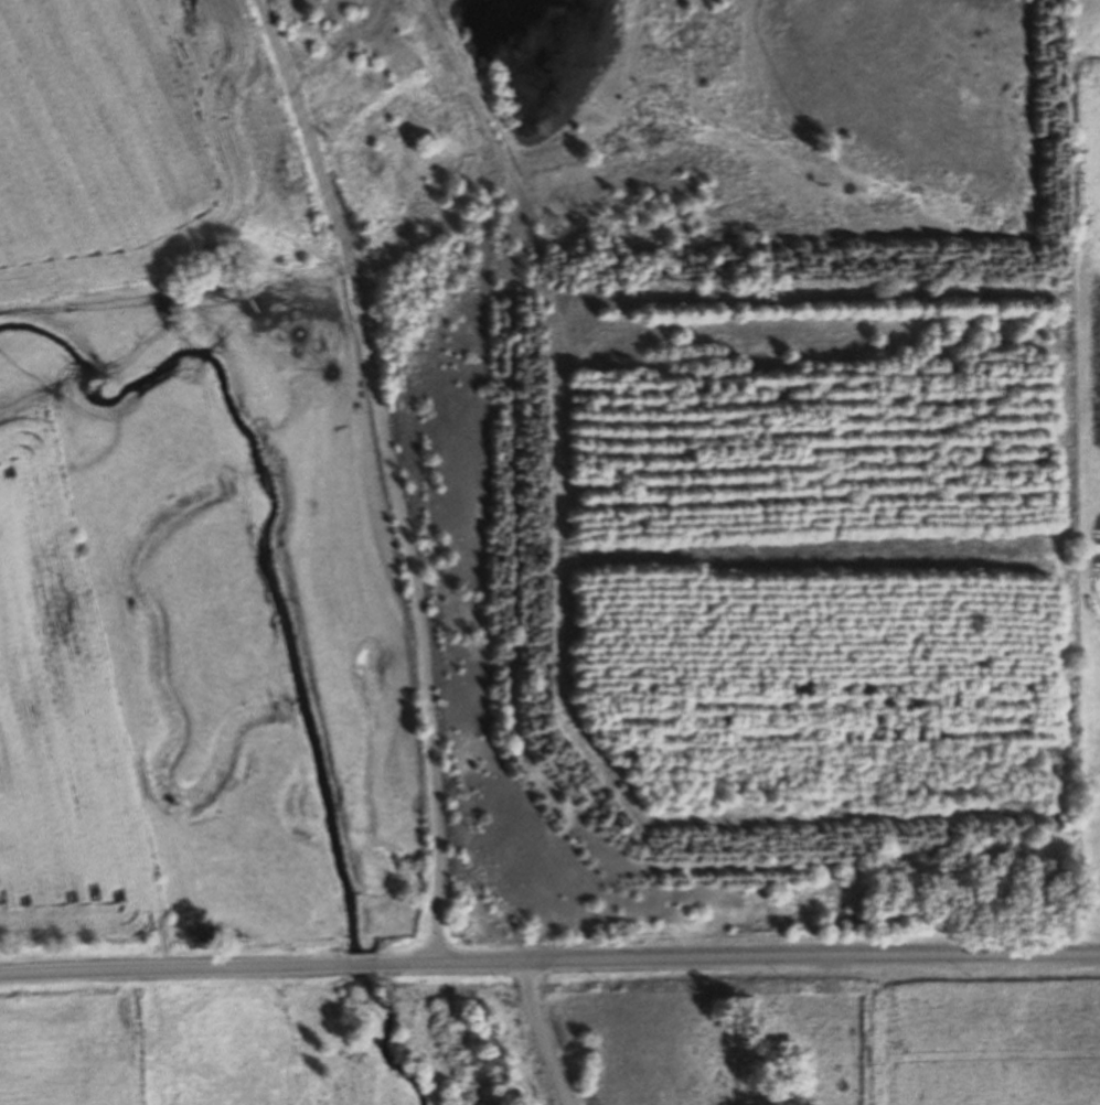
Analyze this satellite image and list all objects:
road: (392, 475)
road: (738, 959)
road: (363, 964)
road: (174, 968)
road: (542, 1034)

